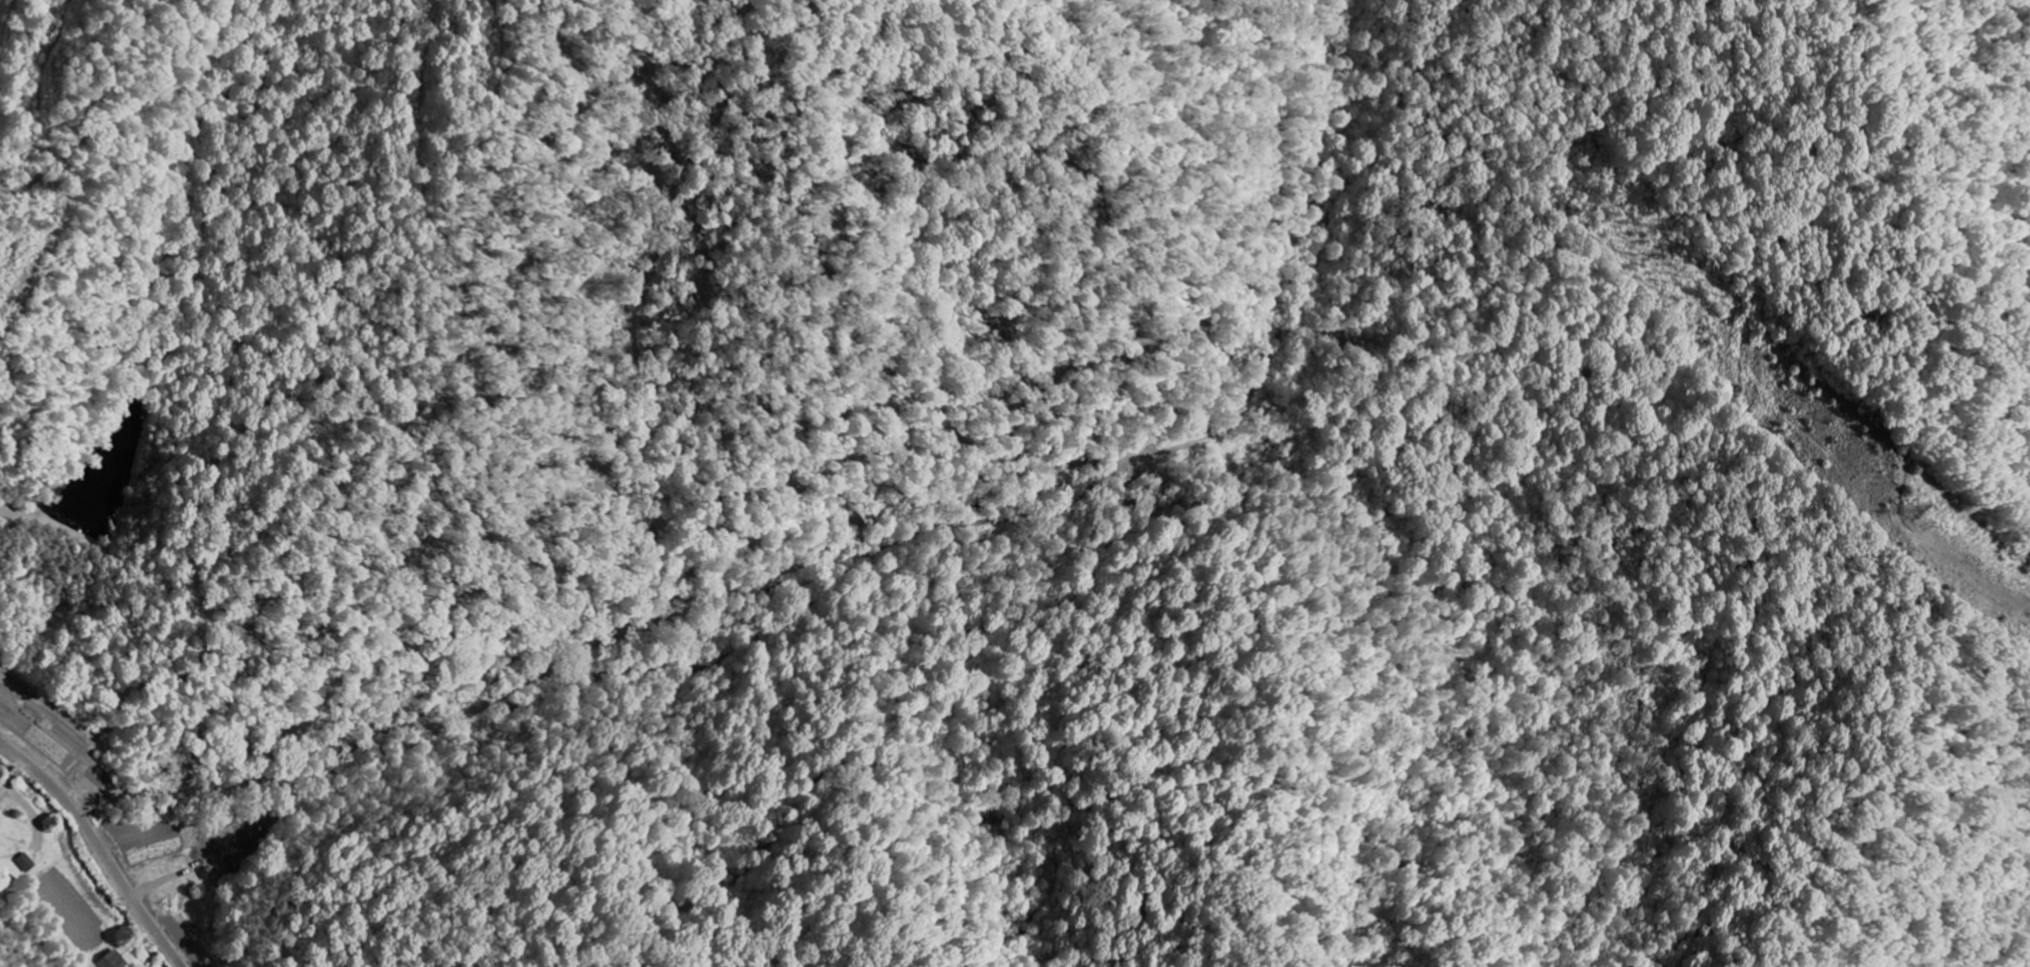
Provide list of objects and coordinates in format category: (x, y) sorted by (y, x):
power tower: (1913, 519)
road: (99, 847)

